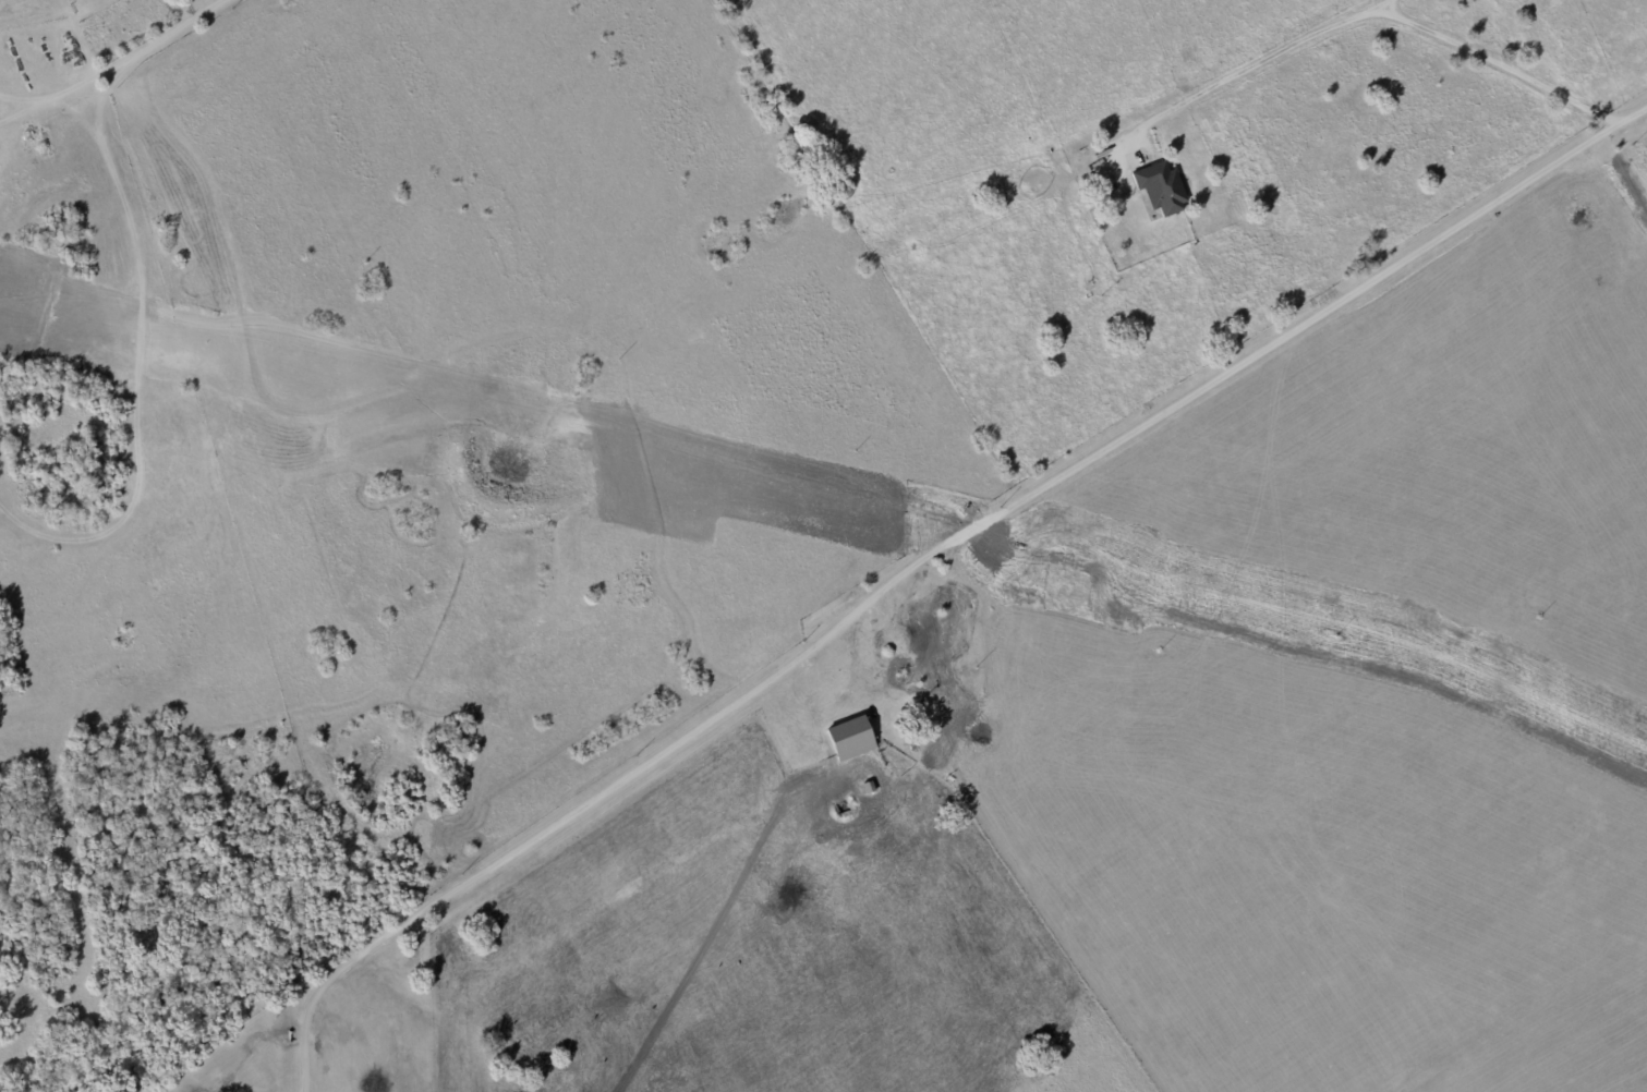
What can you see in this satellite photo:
road: (1379, 14)
road: (116, 69)
building: (1158, 189)
road: (124, 550)
road: (844, 642)
building: (855, 737)
building: (872, 787)
road: (312, 1029)

